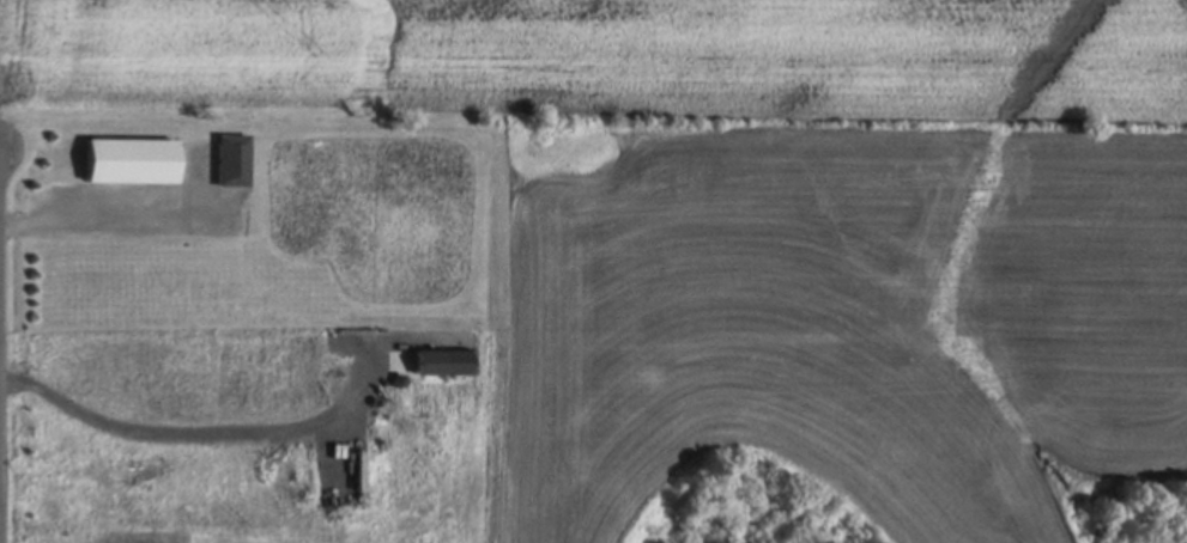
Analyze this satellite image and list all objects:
building: (132, 153)
building: (234, 154)
stadium: (835, 334)
building: (428, 355)
road: (204, 434)

